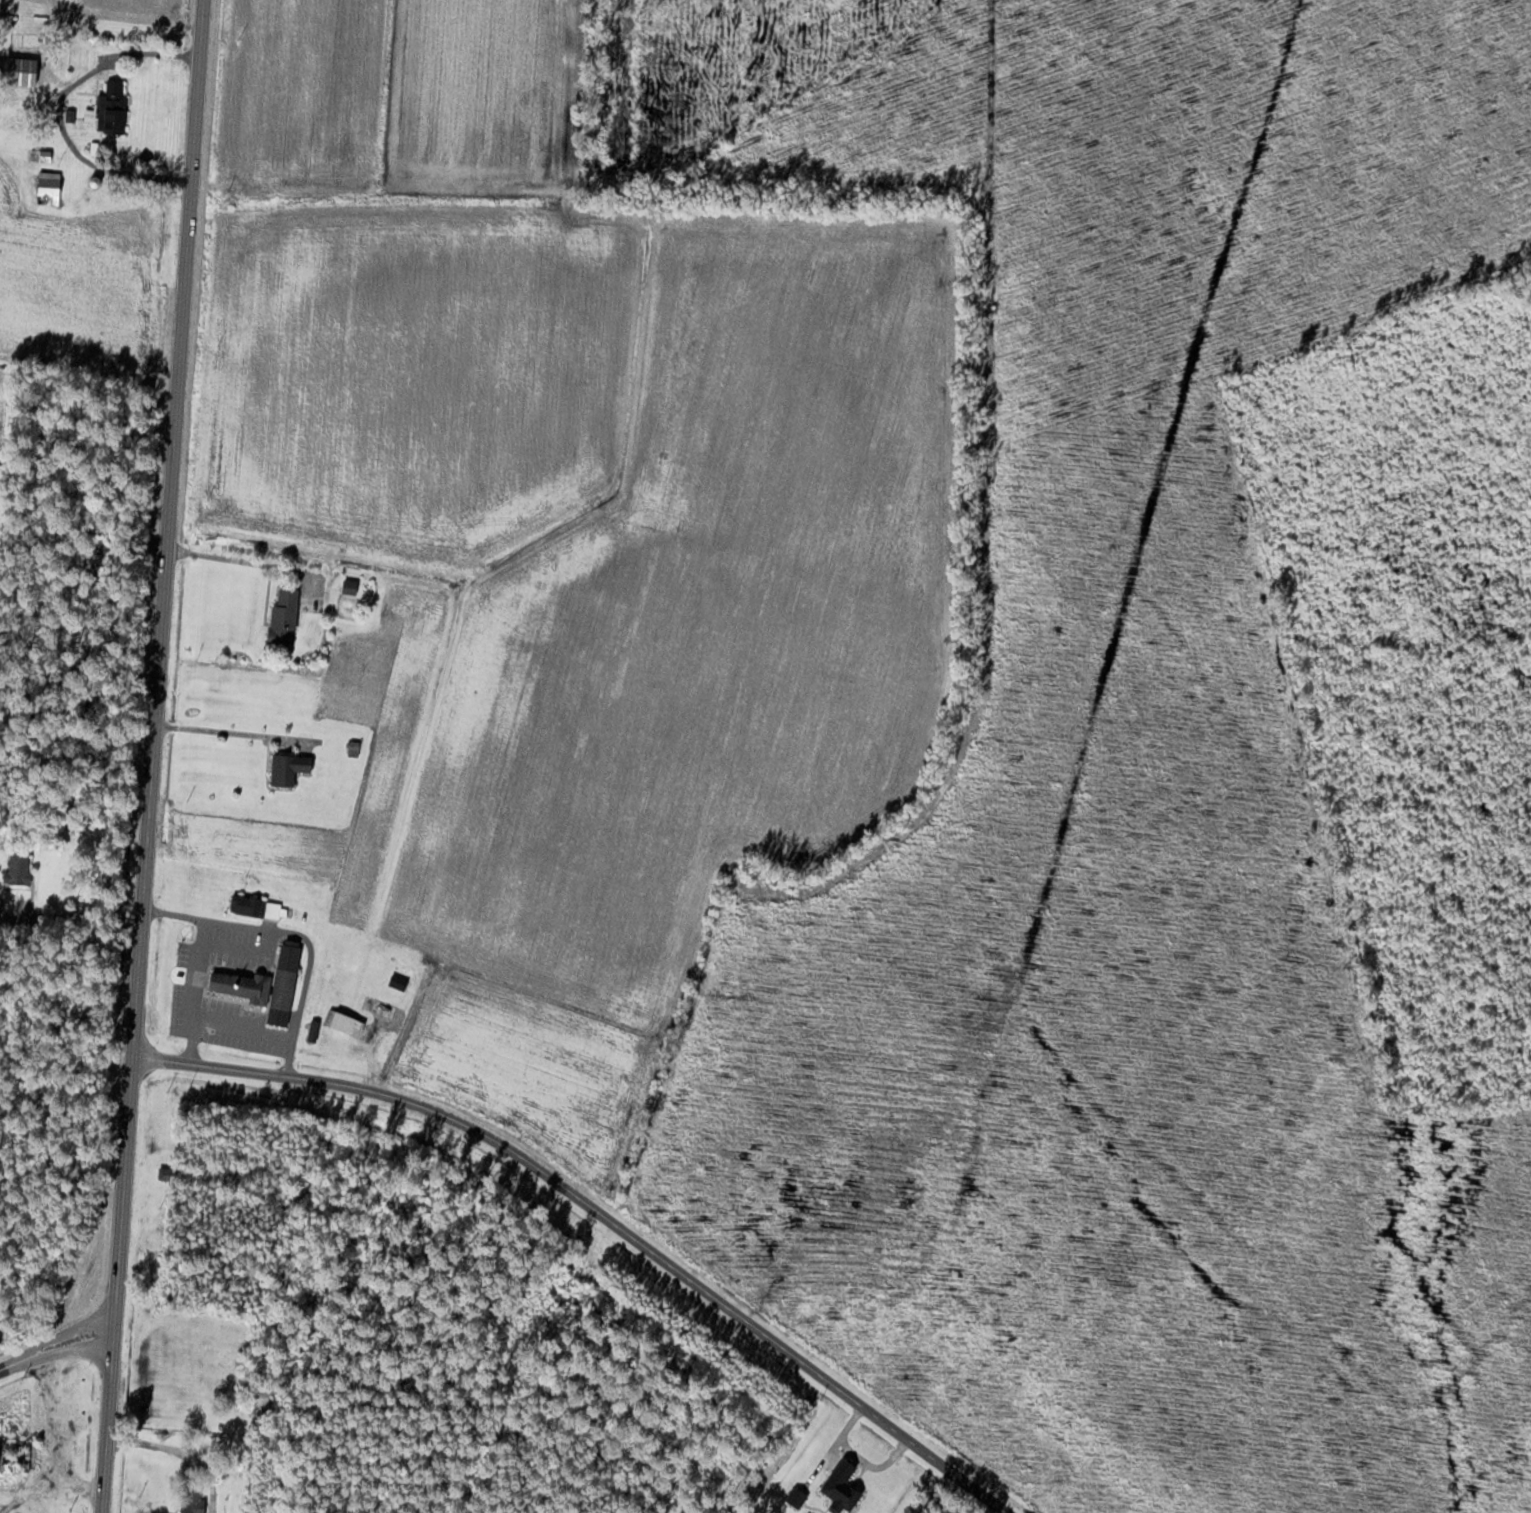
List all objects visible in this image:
building: (33, 39)
building: (18, 70)
building: (111, 107)
building: (13, 119)
building: (50, 188)
building: (351, 585)
building: (284, 616)
road: (155, 756)
building: (290, 768)
building: (19, 867)
building: (249, 905)
building: (400, 982)
building: (257, 987)
building: (380, 1006)
building: (350, 1024)
building: (298, 1194)
road: (599, 1213)
road: (59, 1346)
building: (15, 1451)
building: (192, 1499)

